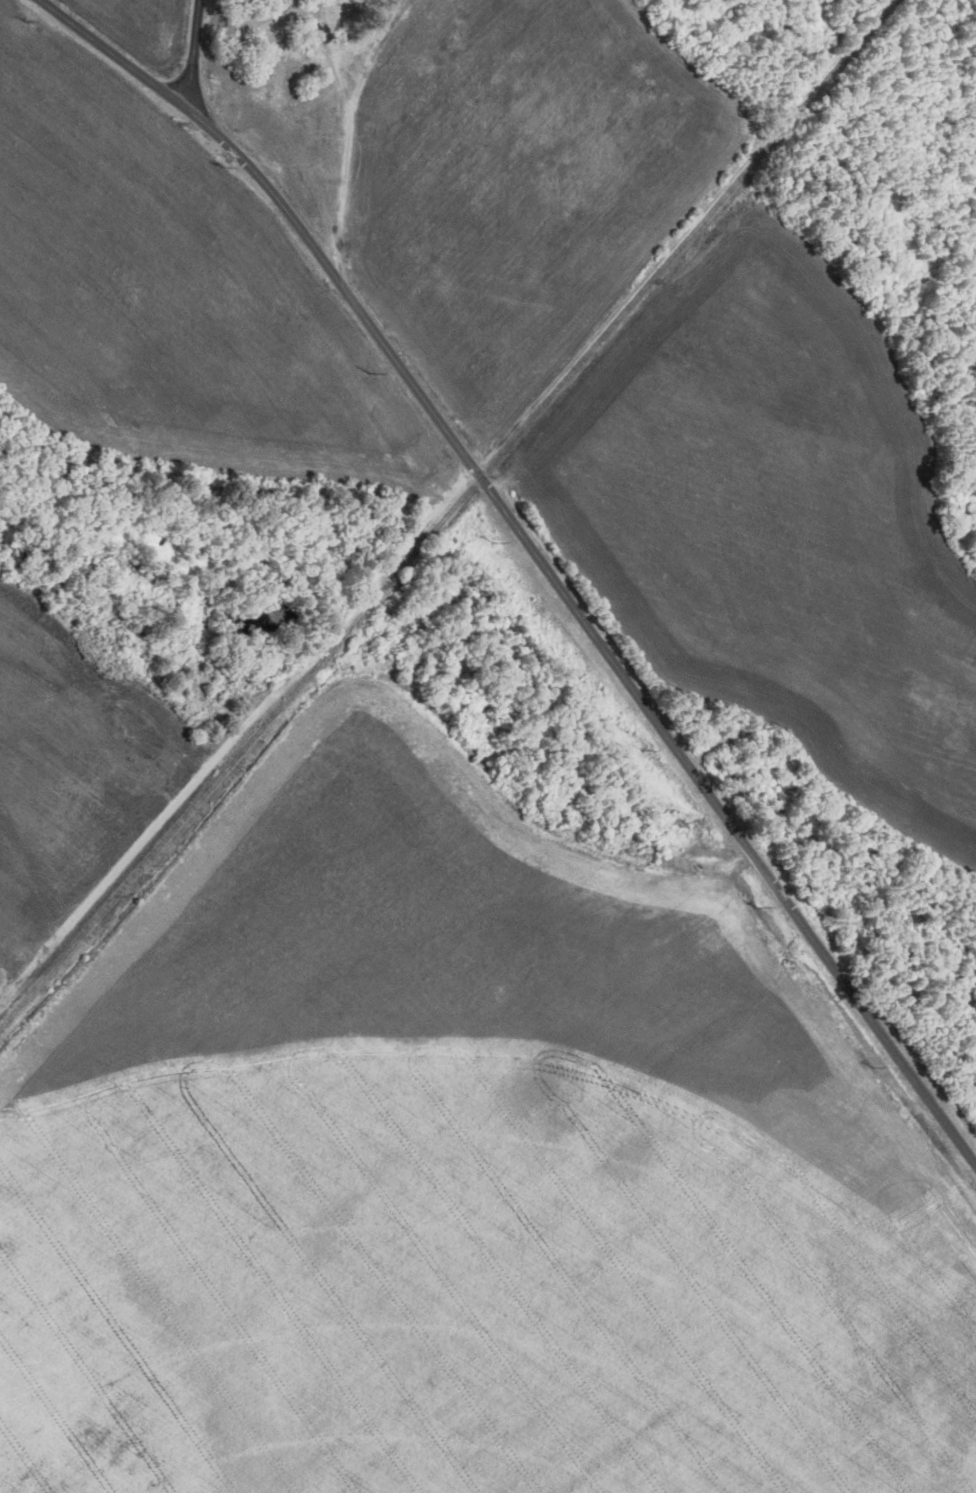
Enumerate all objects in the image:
road: (193, 54)
railway: (445, 515)
road: (537, 555)

